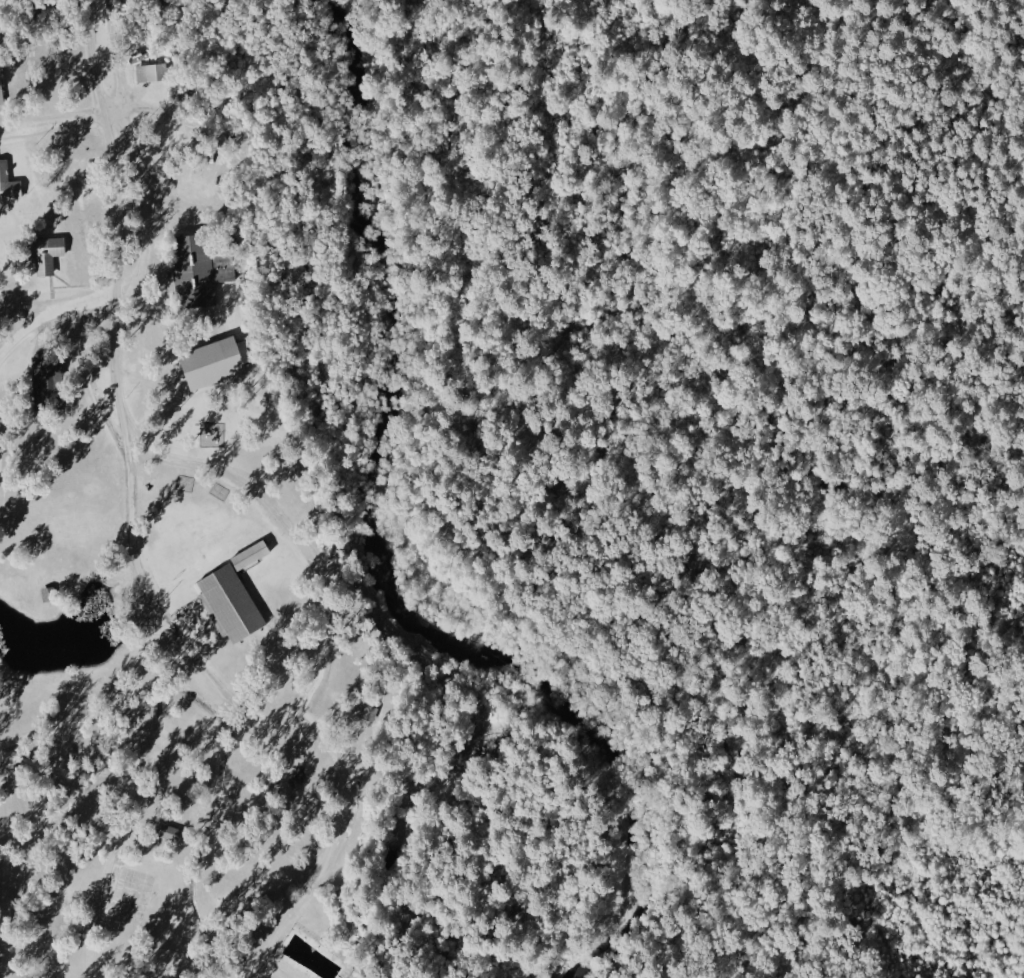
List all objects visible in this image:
building: (150, 73)
building: (0, 96)
road: (56, 124)
building: (9, 184)
road: (1001, 241)
building: (44, 253)
building: (228, 269)
building: (193, 273)
road: (27, 310)
road: (49, 312)
building: (214, 362)
road: (115, 363)
building: (44, 384)
road: (93, 384)
road: (595, 431)
river: (382, 540)
building: (250, 555)
road: (307, 556)
building: (229, 604)
road: (174, 884)

